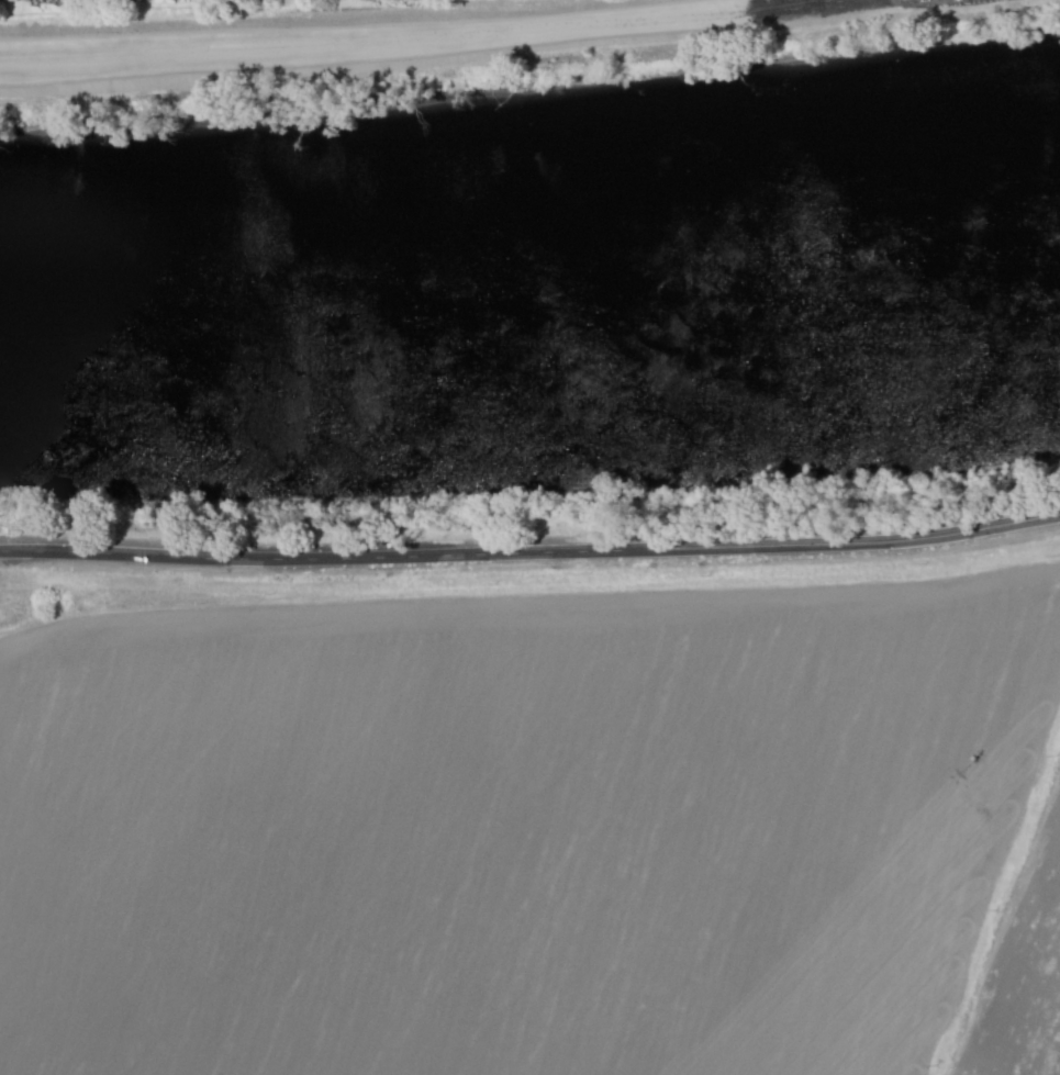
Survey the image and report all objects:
building: (42, 0)
road: (398, 35)
river: (529, 255)
road: (531, 550)
crop: (521, 828)

